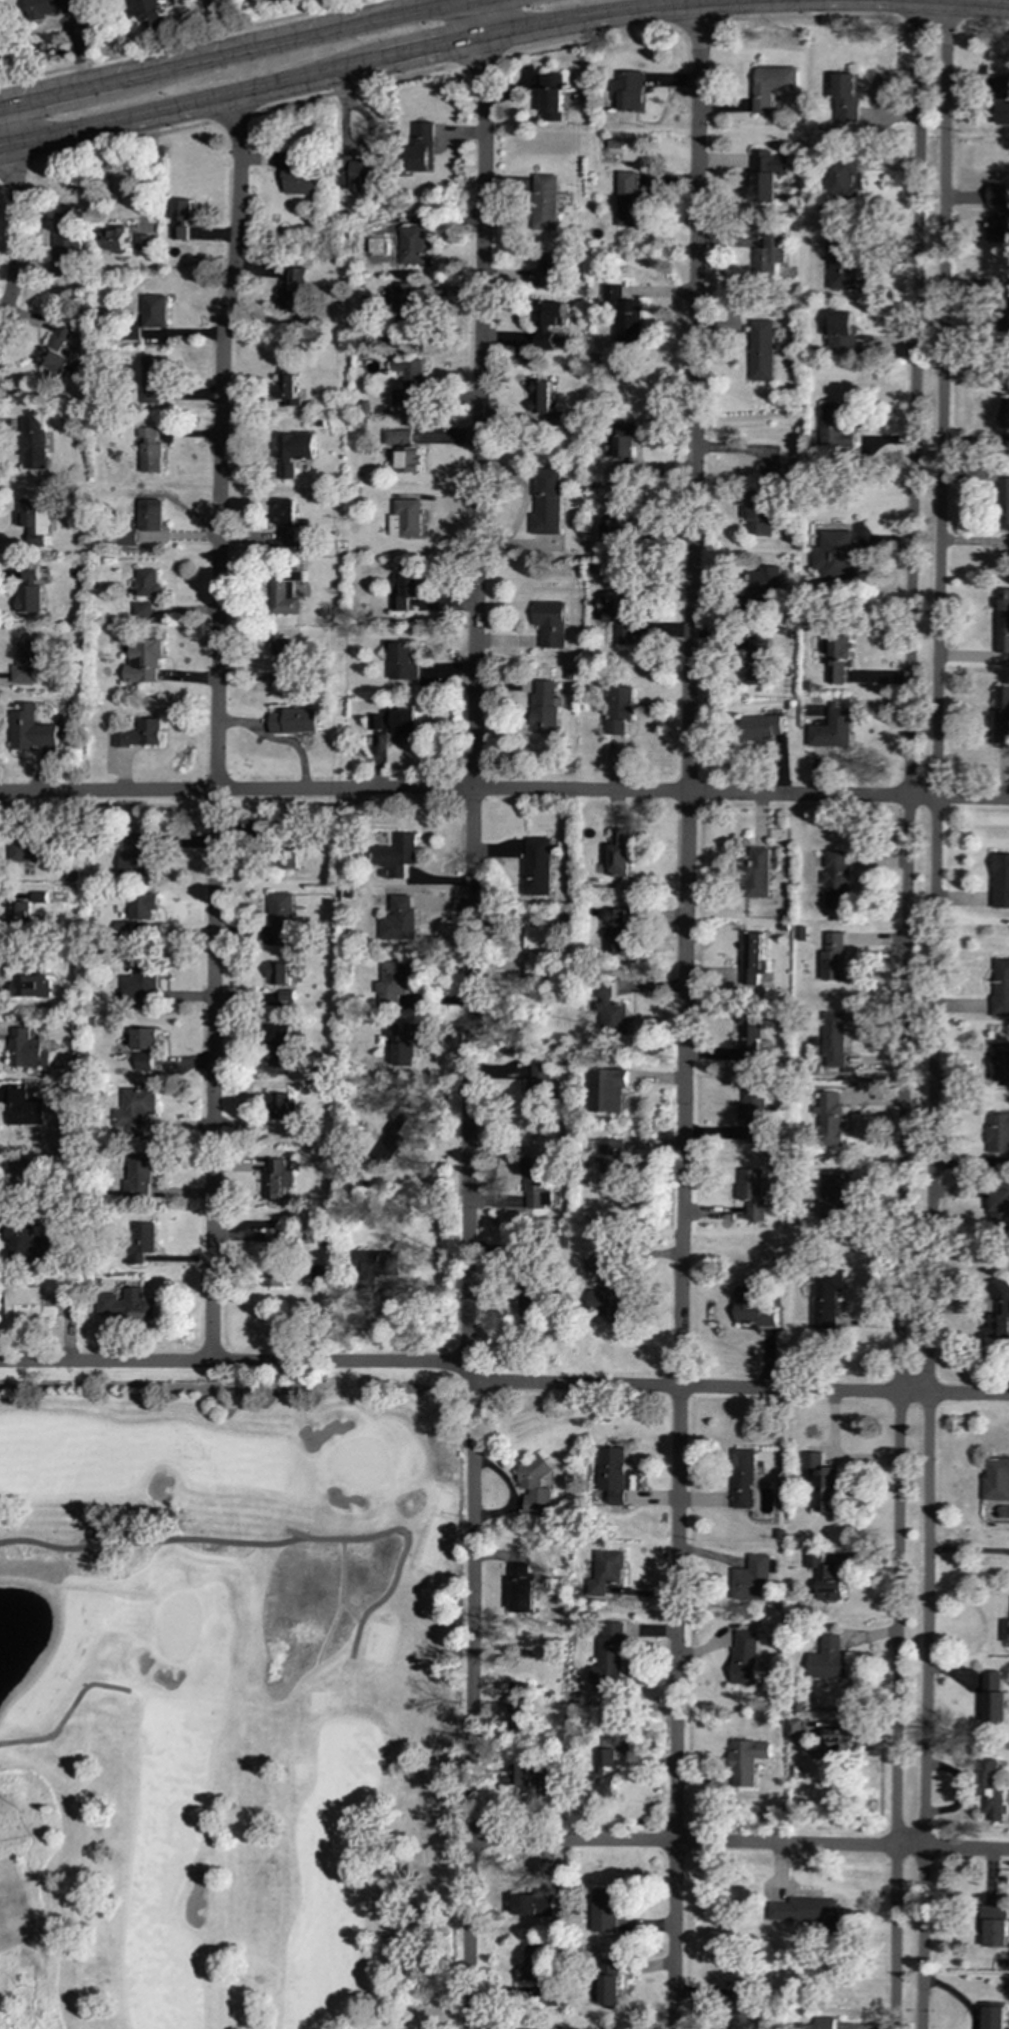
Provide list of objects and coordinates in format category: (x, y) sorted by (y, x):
road: (973, 3)
building: (48, 8)
building: (154, 14)
road: (810, 16)
road: (930, 18)
road: (695, 23)
road: (984, 23)
road: (587, 36)
road: (180, 40)
road: (228, 52)
road: (479, 58)
road: (374, 61)
building: (771, 85)
road: (355, 87)
building: (627, 91)
building: (550, 97)
building: (846, 98)
building: (1002, 100)
road: (232, 116)
road: (121, 141)
building: (421, 147)
building: (279, 159)
road: (15, 165)
building: (355, 173)
building: (766, 175)
building: (842, 178)
building: (298, 181)
building: (629, 199)
building: (544, 203)
building: (183, 212)
building: (997, 212)
road: (16, 219)
building: (179, 233)
building: (115, 238)
building: (67, 244)
building: (142, 245)
building: (412, 245)
building: (379, 246)
building: (767, 257)
building: (839, 265)
building: (551, 271)
building: (292, 289)
building: (403, 304)
building: (155, 311)
building: (622, 315)
building: (546, 322)
building: (841, 329)
building: (57, 350)
building: (760, 350)
building: (153, 381)
building: (409, 382)
building: (287, 390)
building: (541, 403)
building: (1003, 412)
building: (830, 428)
building: (398, 437)
building: (1007, 442)
building: (34, 446)
building: (151, 448)
building: (624, 450)
building: (293, 451)
building: (409, 460)
building: (547, 503)
building: (1003, 504)
building: (761, 505)
building: (34, 516)
building: (151, 516)
building: (406, 519)
building: (287, 524)
building: (616, 526)
building: (128, 536)
building: (833, 555)
building: (147, 582)
building: (763, 586)
building: (29, 589)
building: (405, 591)
building: (284, 593)
building: (143, 610)
building: (621, 616)
building: (1002, 621)
building: (550, 623)
building: (837, 657)
building: (288, 658)
building: (759, 660)
building: (27, 662)
building: (143, 662)
building: (404, 662)
road: (474, 682)
road: (689, 695)
road: (909, 697)
road: (937, 698)
building: (545, 709)
building: (620, 709)
building: (1002, 715)
building: (294, 721)
building: (396, 722)
building: (762, 727)
road: (217, 728)
building: (33, 729)
building: (832, 730)
building: (141, 734)
road: (504, 790)
building: (35, 852)
building: (621, 852)
building: (397, 856)
building: (141, 858)
building: (288, 858)
building: (538, 866)
building: (756, 873)
building: (836, 880)
building: (1000, 881)
building: (41, 897)
building: (144, 905)
building: (22, 914)
building: (283, 915)
building: (399, 920)
building: (617, 932)
building: (536, 952)
building: (753, 957)
building: (834, 957)
building: (280, 974)
building: (142, 983)
building: (32, 986)
building: (1001, 987)
building: (607, 1012)
building: (146, 1039)
building: (751, 1039)
building: (835, 1039)
building: (280, 1045)
building: (399, 1045)
building: (27, 1050)
building: (146, 1062)
building: (999, 1064)
building: (536, 1087)
building: (607, 1090)
building: (281, 1106)
building: (24, 1109)
building: (136, 1111)
building: (753, 1114)
building: (832, 1120)
building: (301, 1129)
building: (998, 1133)
building: (391, 1138)
building: (20, 1163)
building: (613, 1164)
building: (139, 1174)
building: (277, 1180)
building: (536, 1183)
building: (752, 1192)
building: (832, 1197)
building: (140, 1243)
building: (28, 1244)
building: (274, 1257)
building: (373, 1267)
building: (609, 1295)
building: (826, 1297)
building: (30, 1303)
building: (529, 1303)
building: (127, 1304)
building: (752, 1308)
building: (1001, 1311)
road: (233, 1363)
road: (469, 1374)
road: (740, 1389)
building: (612, 1474)
building: (742, 1478)
building: (997, 1478)
building: (822, 1483)
building: (534, 1485)
road: (149, 1542)
road: (403, 1544)
building: (608, 1575)
building: (825, 1578)
building: (753, 1579)
building: (520, 1588)
building: (1005, 1630)
building: (610, 1656)
building: (745, 1658)
building: (828, 1660)
park: (230, 1700)
building: (994, 1700)
building: (517, 1702)
road: (470, 1706)
road: (675, 1707)
road: (896, 1712)
road: (925, 1712)
road: (65, 1715)
building: (794, 1728)
building: (837, 1743)
building: (746, 1761)
building: (604, 1772)
building: (529, 1777)
building: (991, 1792)
road: (739, 1843)
building: (533, 1903)
building: (604, 1910)
building: (806, 1914)
building: (997, 1926)
building: (532, 1962)
building: (608, 1982)
building: (547, 1994)
building: (739, 1999)
building: (991, 2018)
building: (741, 2021)
building: (818, 2024)

